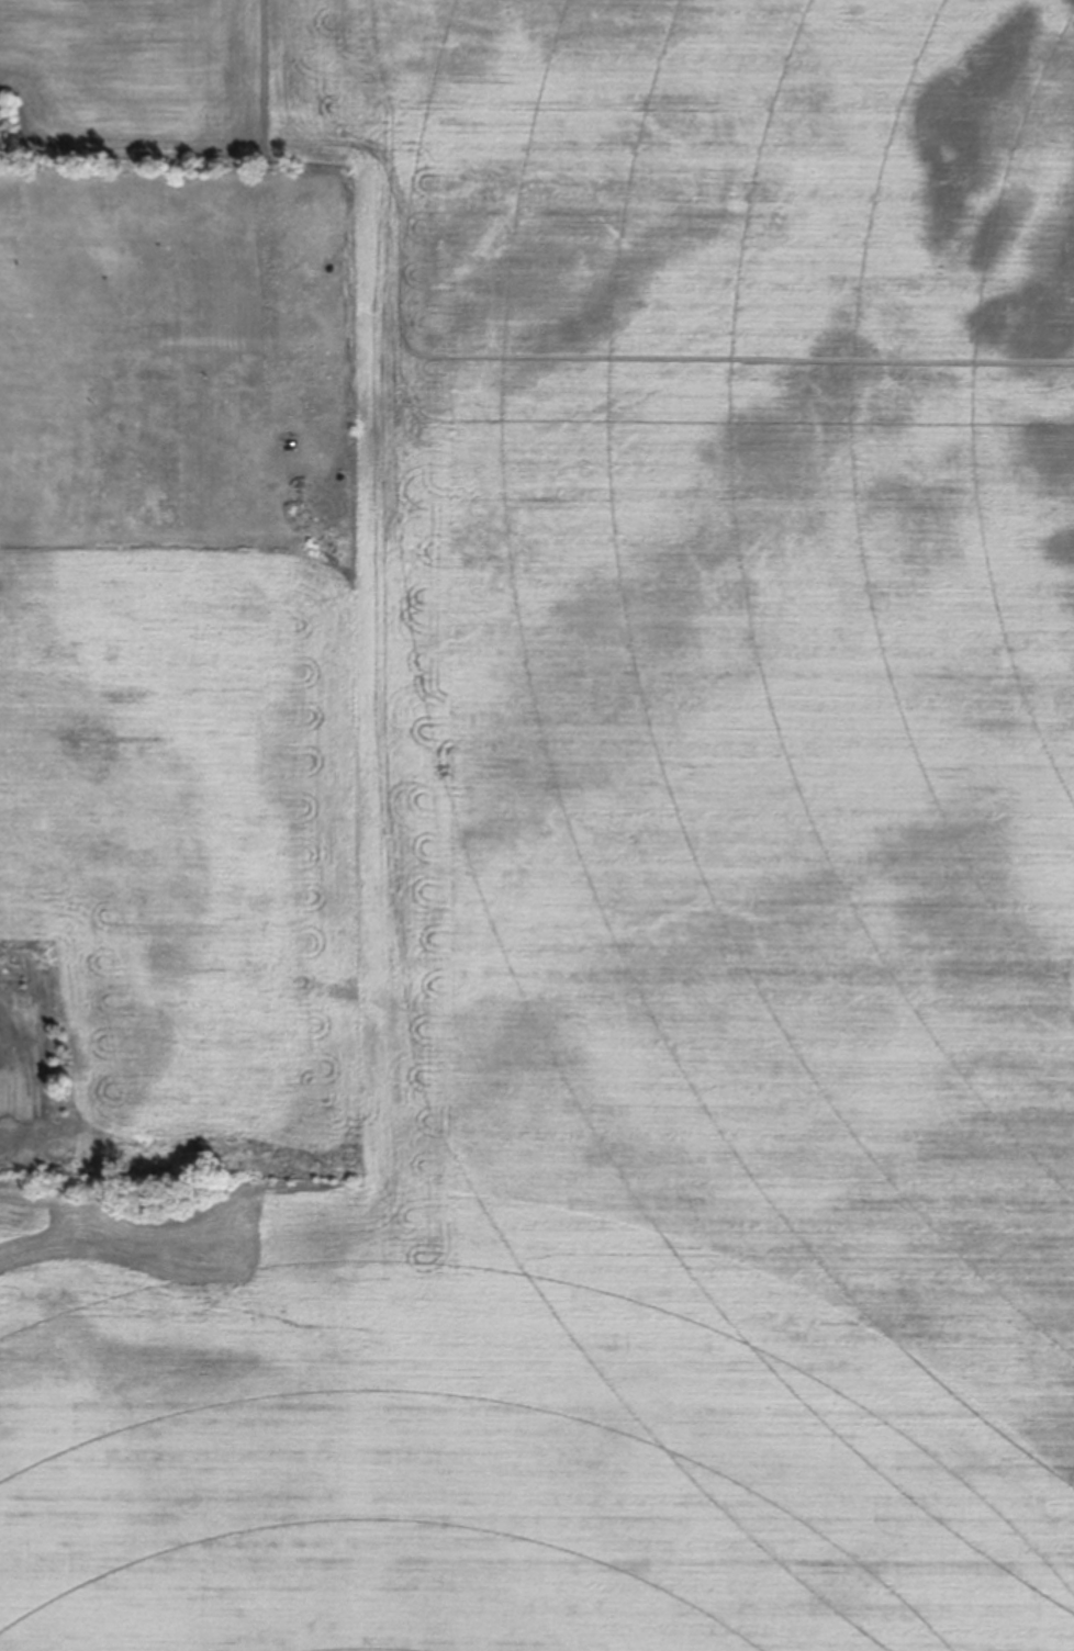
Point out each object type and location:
crop: (627, 864)

